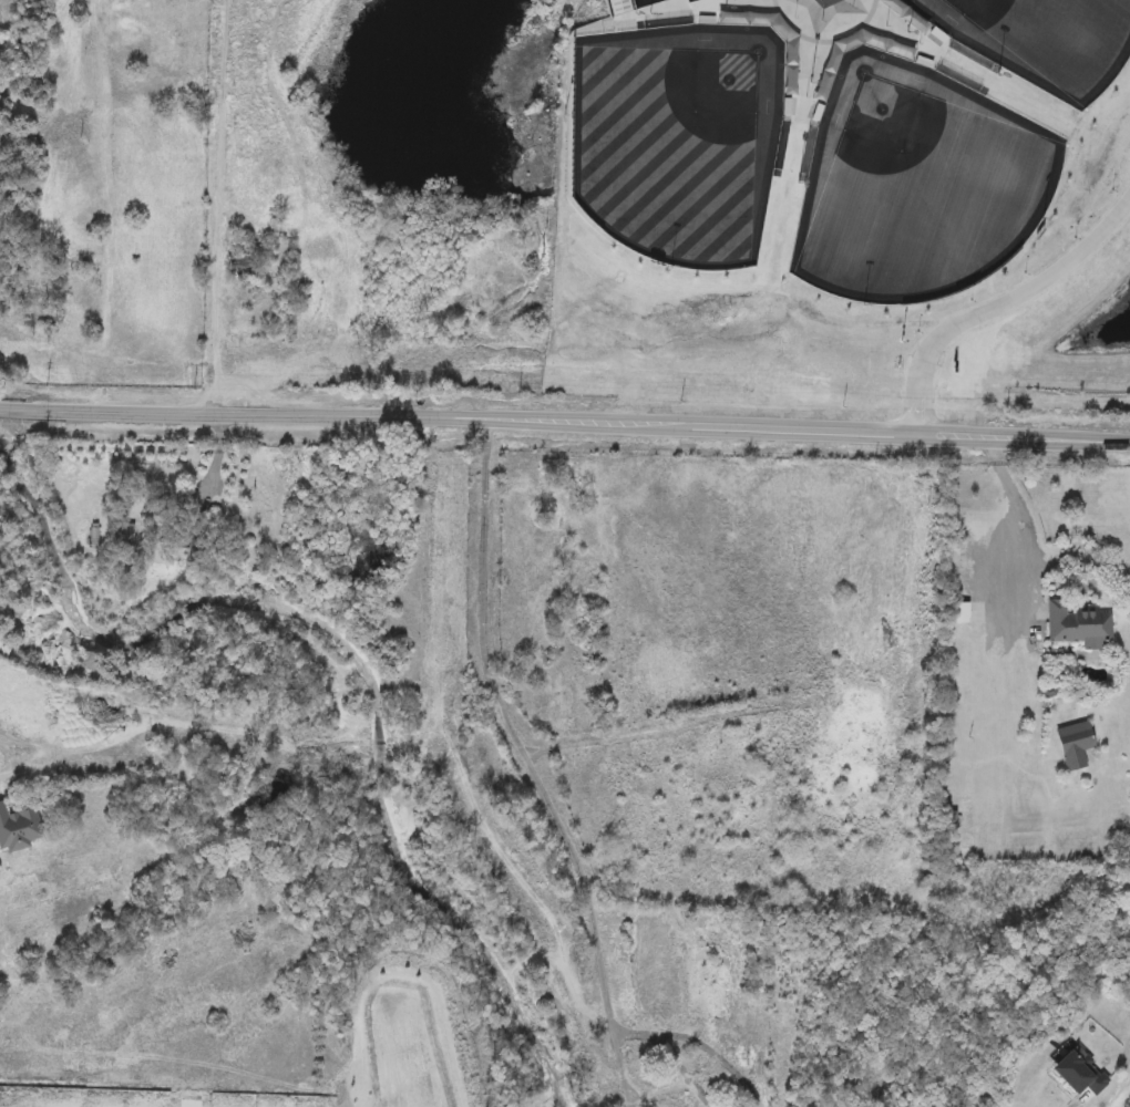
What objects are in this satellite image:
park: (666, 20)
park: (1040, 40)
park: (912, 185)
road: (210, 195)
building: (988, 262)
building: (244, 266)
road: (1010, 302)
road: (565, 420)
road: (1011, 523)
building: (112, 532)
building: (962, 613)
building: (1080, 624)
building: (866, 702)
building: (1078, 744)
road: (531, 765)
building: (19, 828)
road: (629, 1036)
road: (708, 1053)
road: (675, 1070)
building: (1071, 1075)
building: (666, 1099)
road: (189, 1106)

